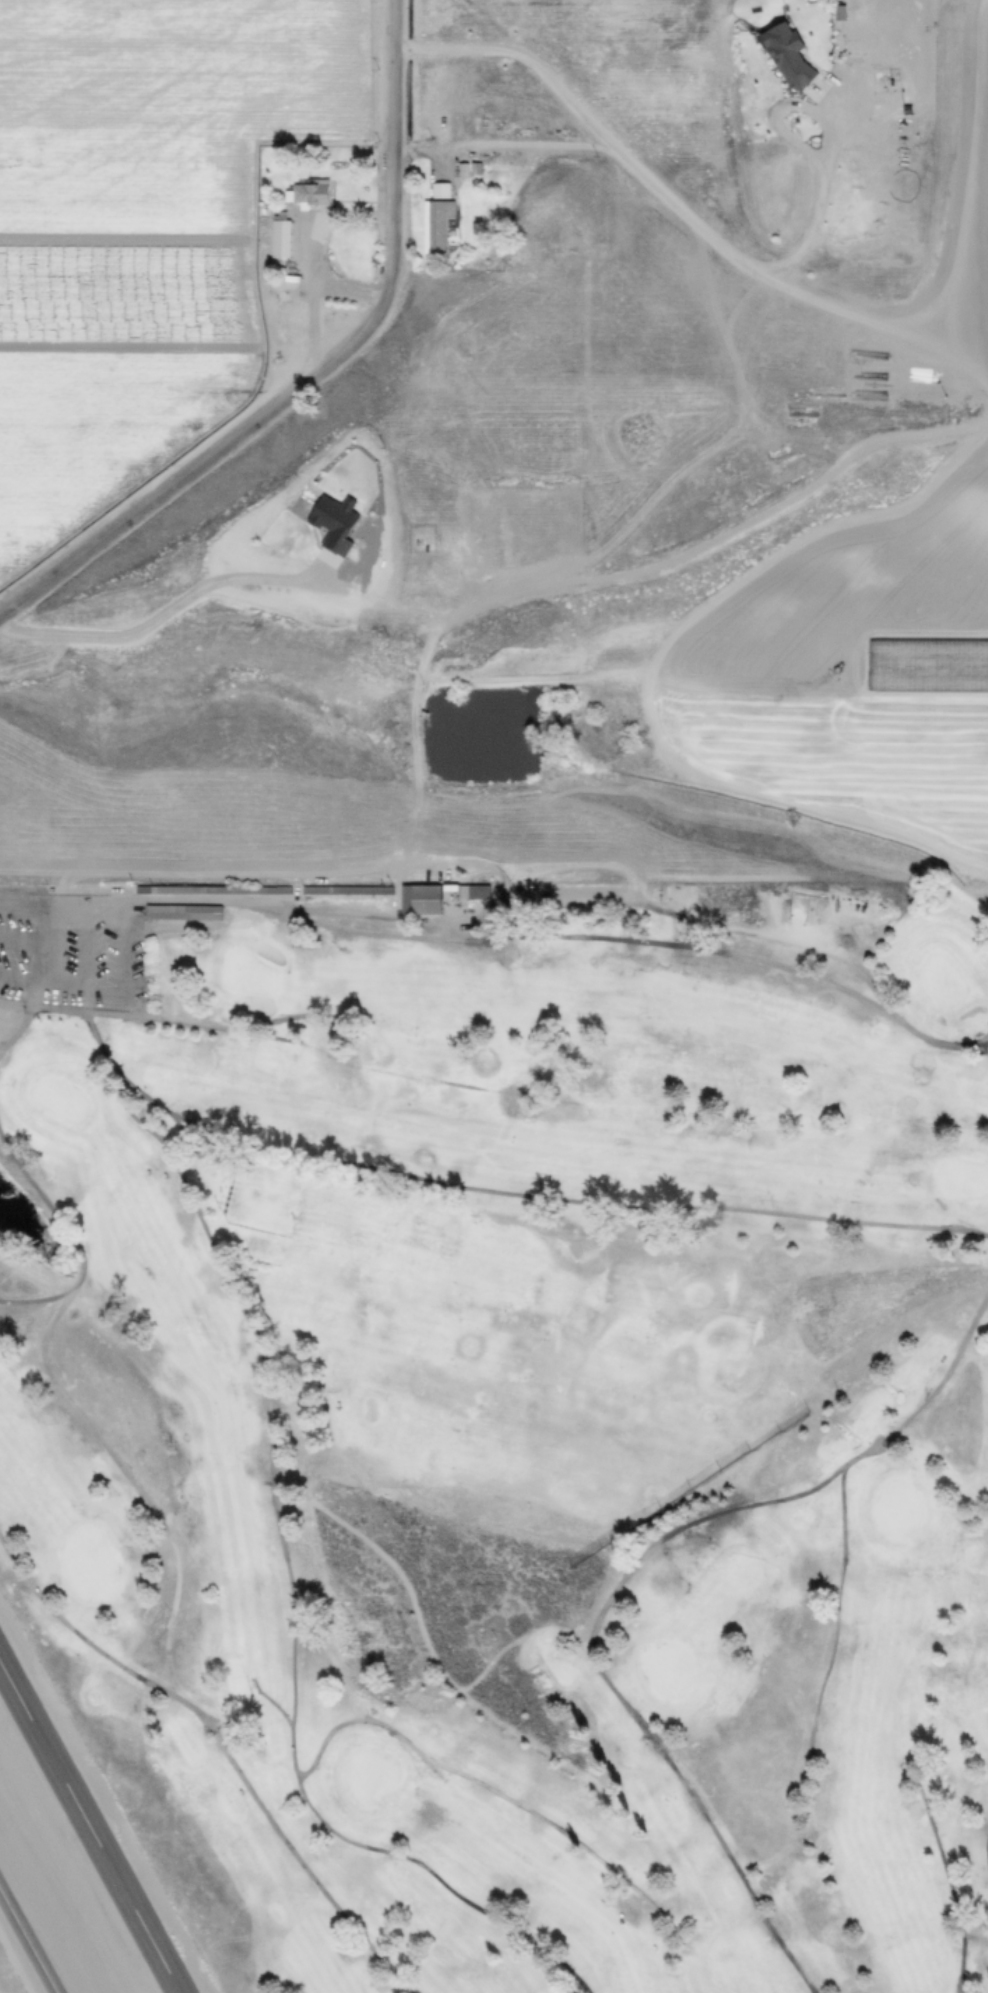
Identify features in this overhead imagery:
road: (526, 57)
building: (319, 199)
road: (675, 206)
building: (444, 230)
building: (293, 244)
road: (320, 374)
road: (160, 616)
road: (64, 894)
building: (222, 894)
building: (356, 894)
building: (481, 895)
building: (431, 904)
building: (193, 916)
airport runway: (92, 1822)
airport: (81, 1850)
airport taxiway: (31, 1936)

